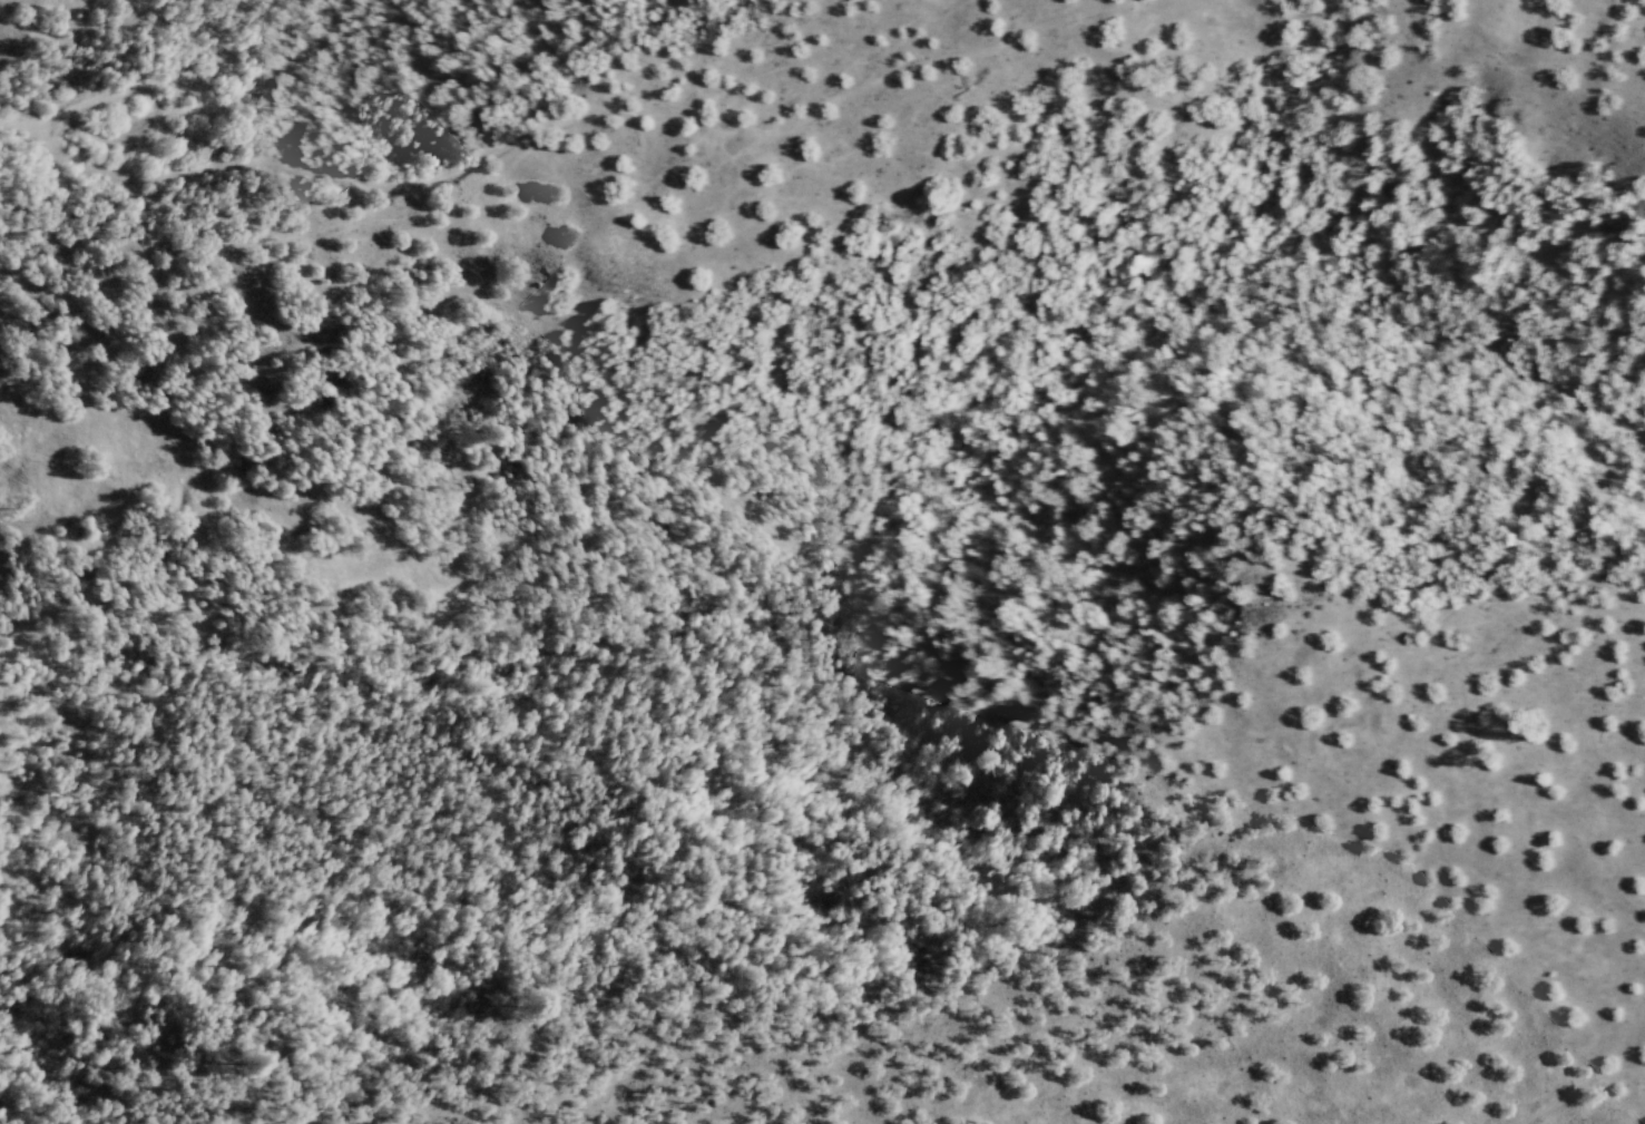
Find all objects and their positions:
road: (580, 111)
road: (27, 125)
road: (1574, 1083)

